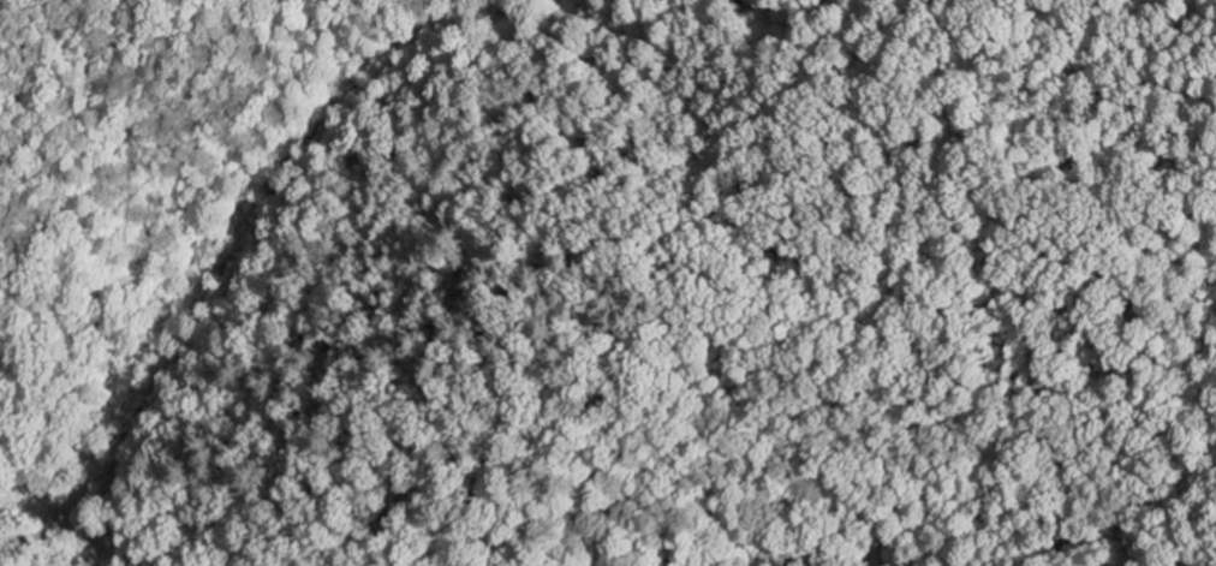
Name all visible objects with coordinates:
road: (31, 537)

